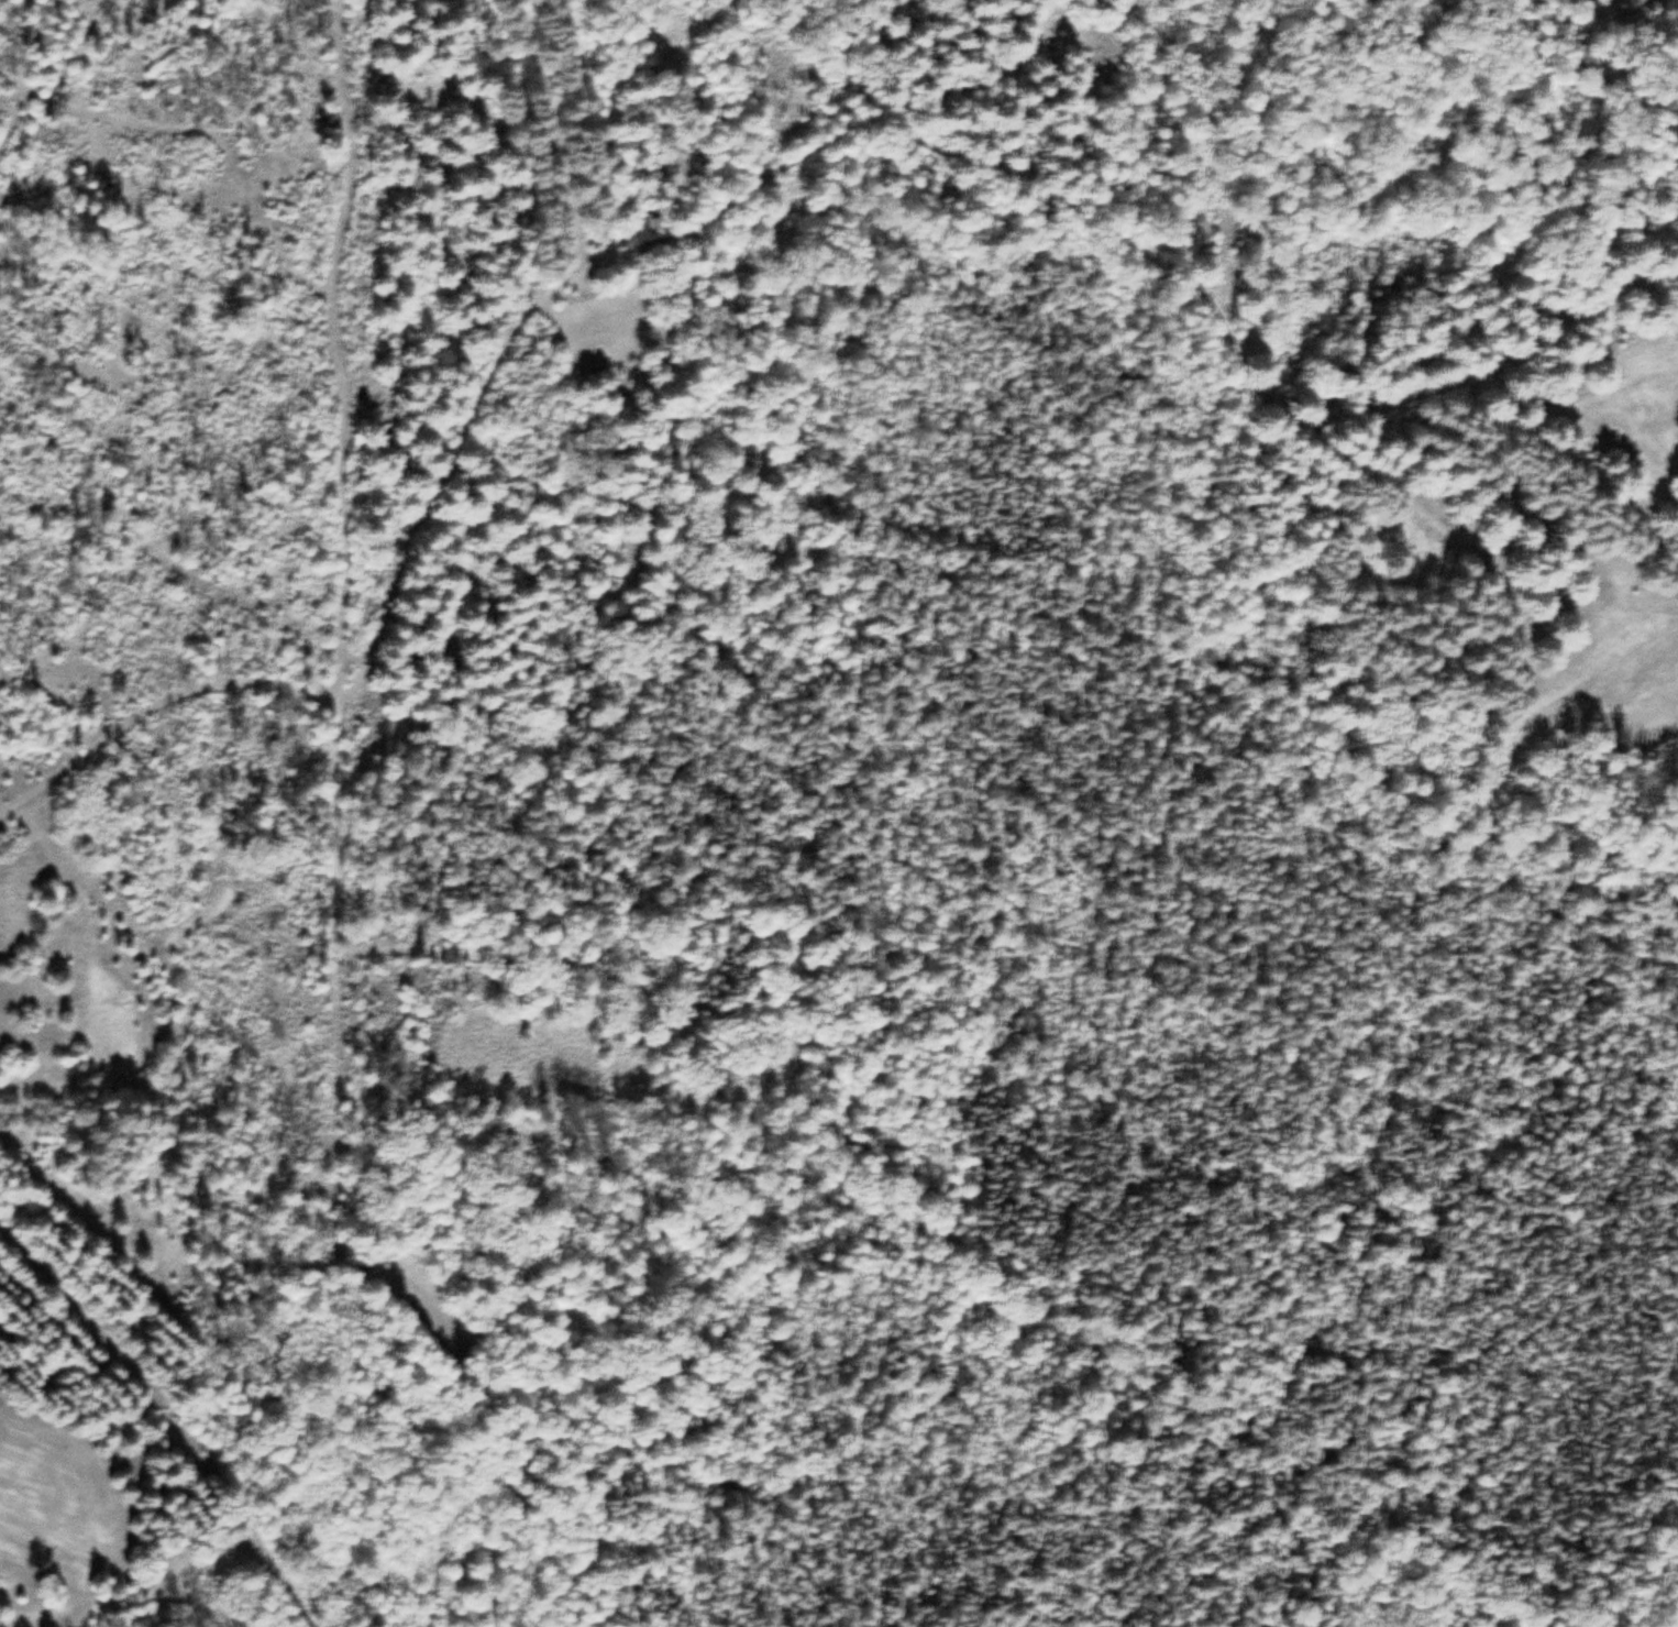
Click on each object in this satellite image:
road: (1033, 33)
road: (935, 94)
road: (1326, 421)
road: (440, 491)
road: (183, 1418)
road: (120, 1598)

